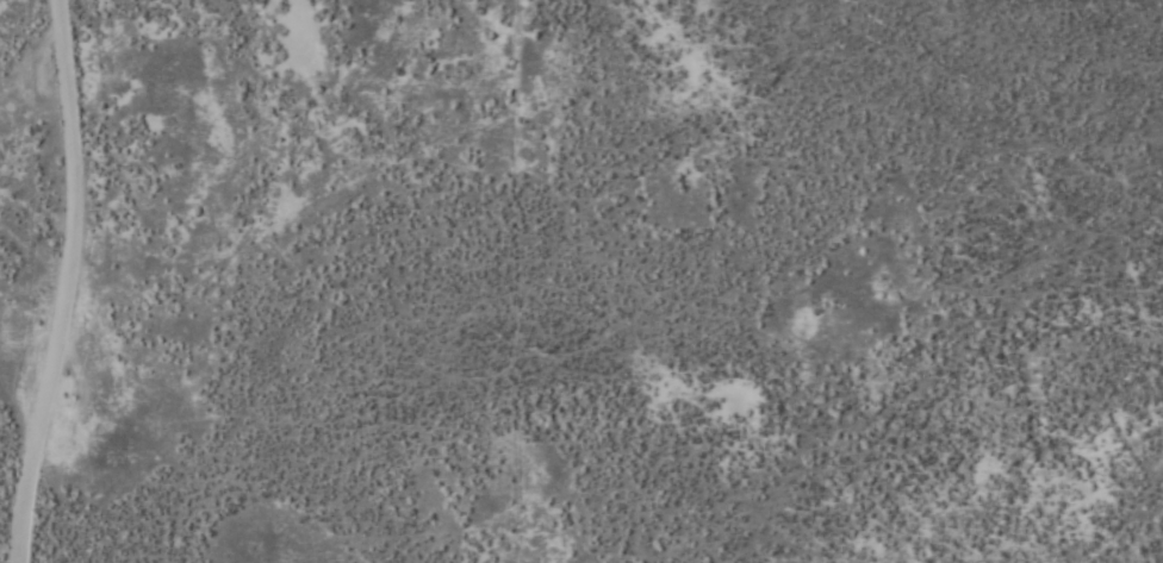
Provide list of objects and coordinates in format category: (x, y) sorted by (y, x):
road: (83, 283)
crop: (294, 332)

